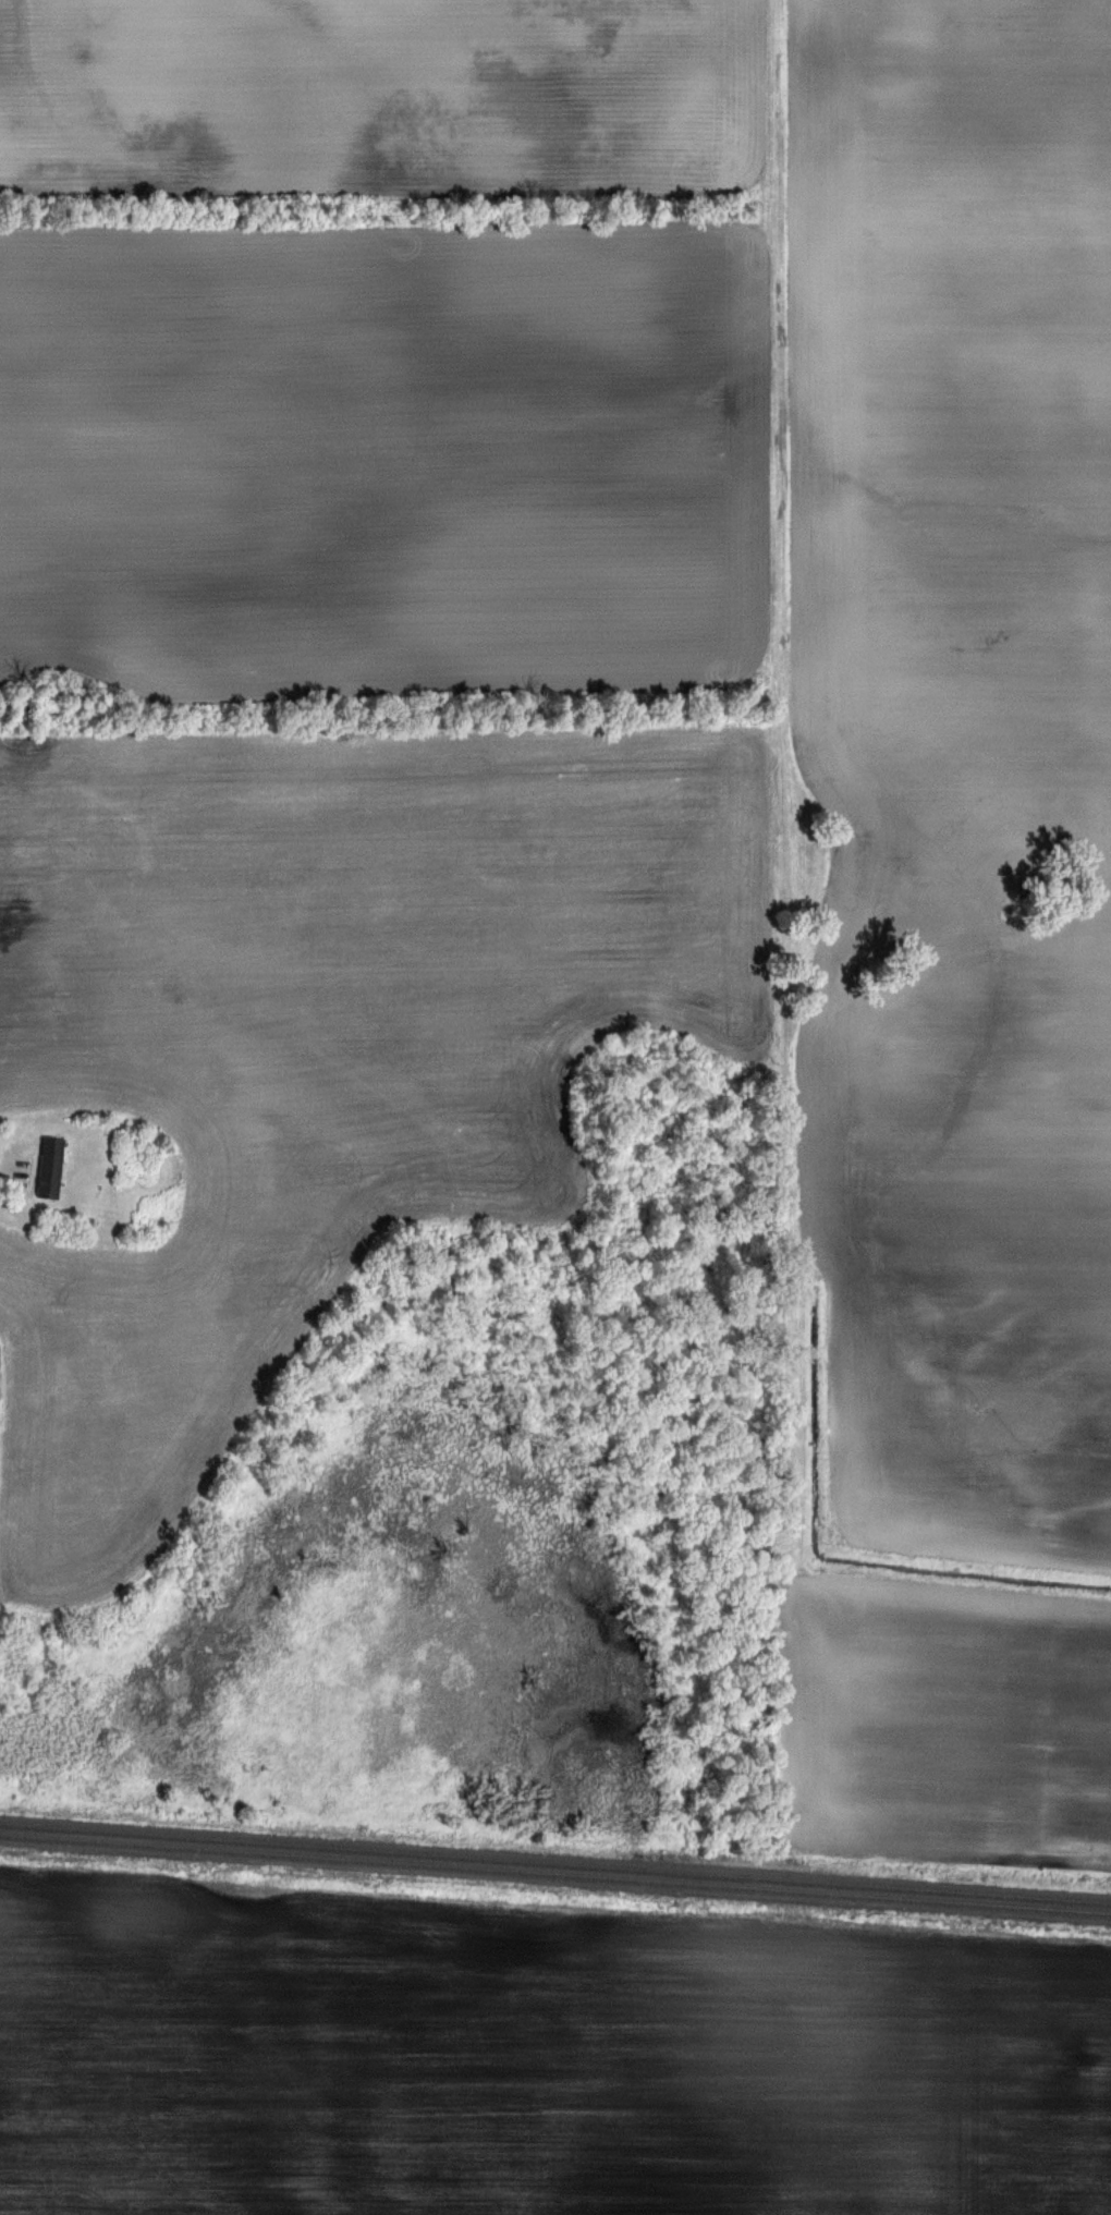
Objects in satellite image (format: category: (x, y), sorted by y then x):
building: (819, 856)
road: (5, 1167)
building: (49, 1167)
railway: (555, 1864)
railway: (555, 1873)

